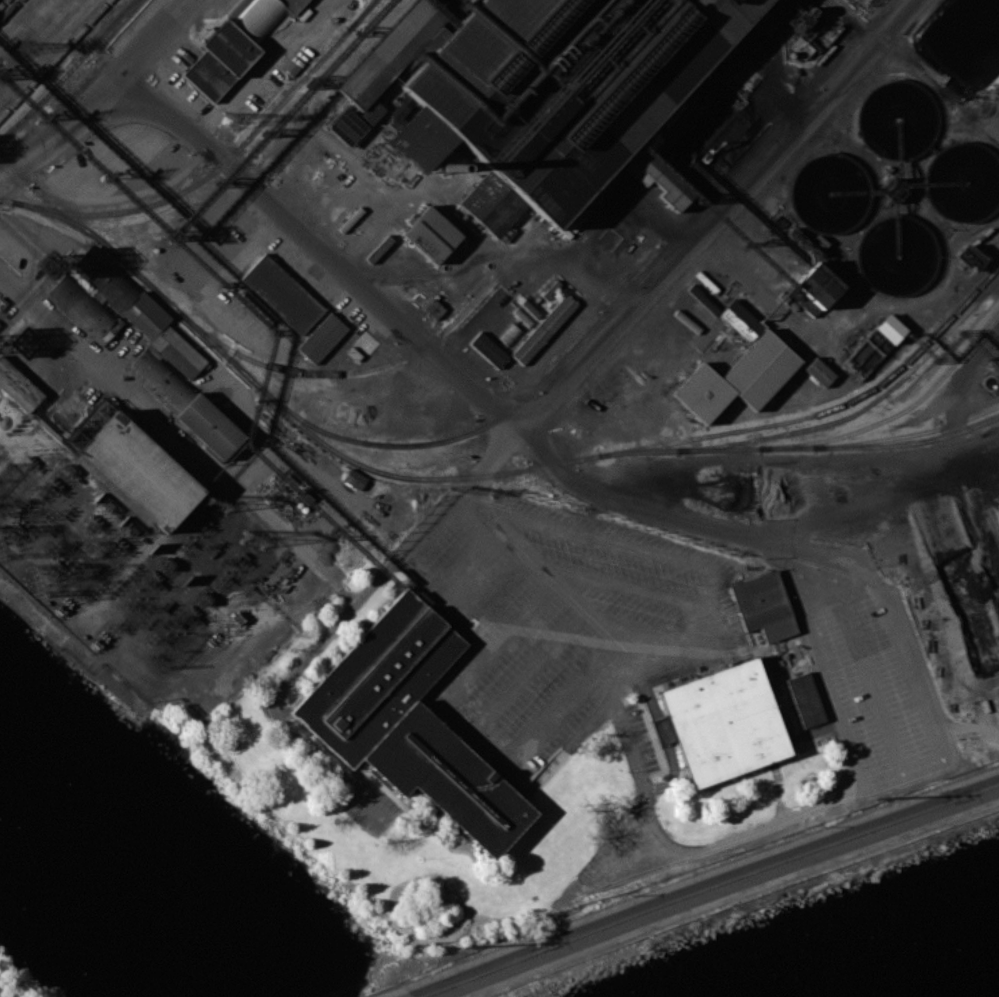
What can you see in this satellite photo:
railway: (2, 3)
railway: (889, 6)
railway: (9, 10)
railway: (360, 14)
building: (235, 43)
road: (137, 55)
railway: (54, 58)
railway: (69, 70)
building: (556, 94)
building: (406, 110)
building: (894, 117)
railway: (223, 163)
building: (963, 182)
building: (829, 194)
building: (428, 235)
building: (895, 255)
building: (107, 277)
building: (817, 285)
building: (280, 295)
building: (84, 307)
building: (257, 307)
building: (527, 314)
building: (741, 320)
building: (544, 328)
building: (890, 328)
building: (323, 335)
building: (366, 342)
building: (488, 349)
railway: (381, 365)
building: (817, 368)
building: (737, 378)
road: (486, 402)
railway: (862, 409)
railway: (898, 412)
railway: (486, 424)
building: (210, 426)
railway: (907, 434)
railway: (644, 447)
railway: (801, 447)
road: (786, 455)
building: (138, 470)
building: (353, 477)
road: (265, 519)
road: (996, 523)
road: (852, 567)
road: (572, 602)
building: (764, 606)
building: (378, 677)
road: (869, 694)
building: (805, 699)
road: (275, 717)
building: (724, 722)
road: (632, 763)
building: (447, 777)
road: (702, 884)
road: (726, 895)
road: (399, 994)

